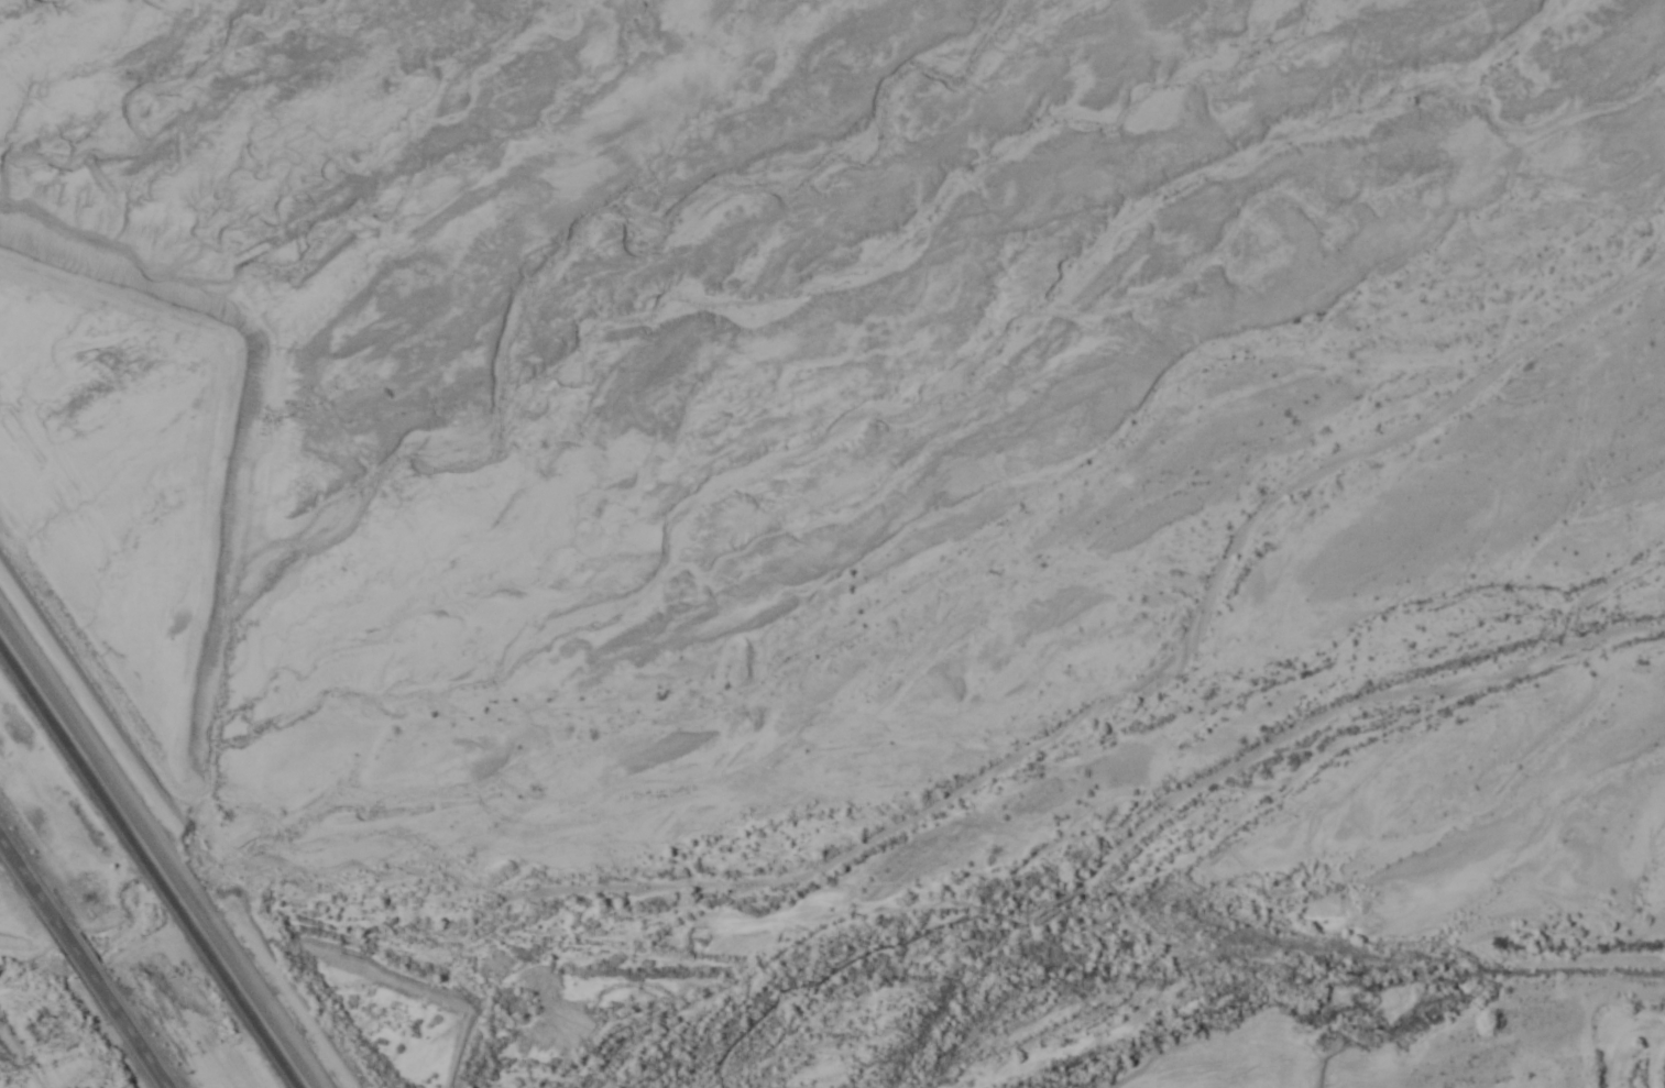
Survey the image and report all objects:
railway: (161, 849)
railway: (150, 865)
road: (85, 961)

